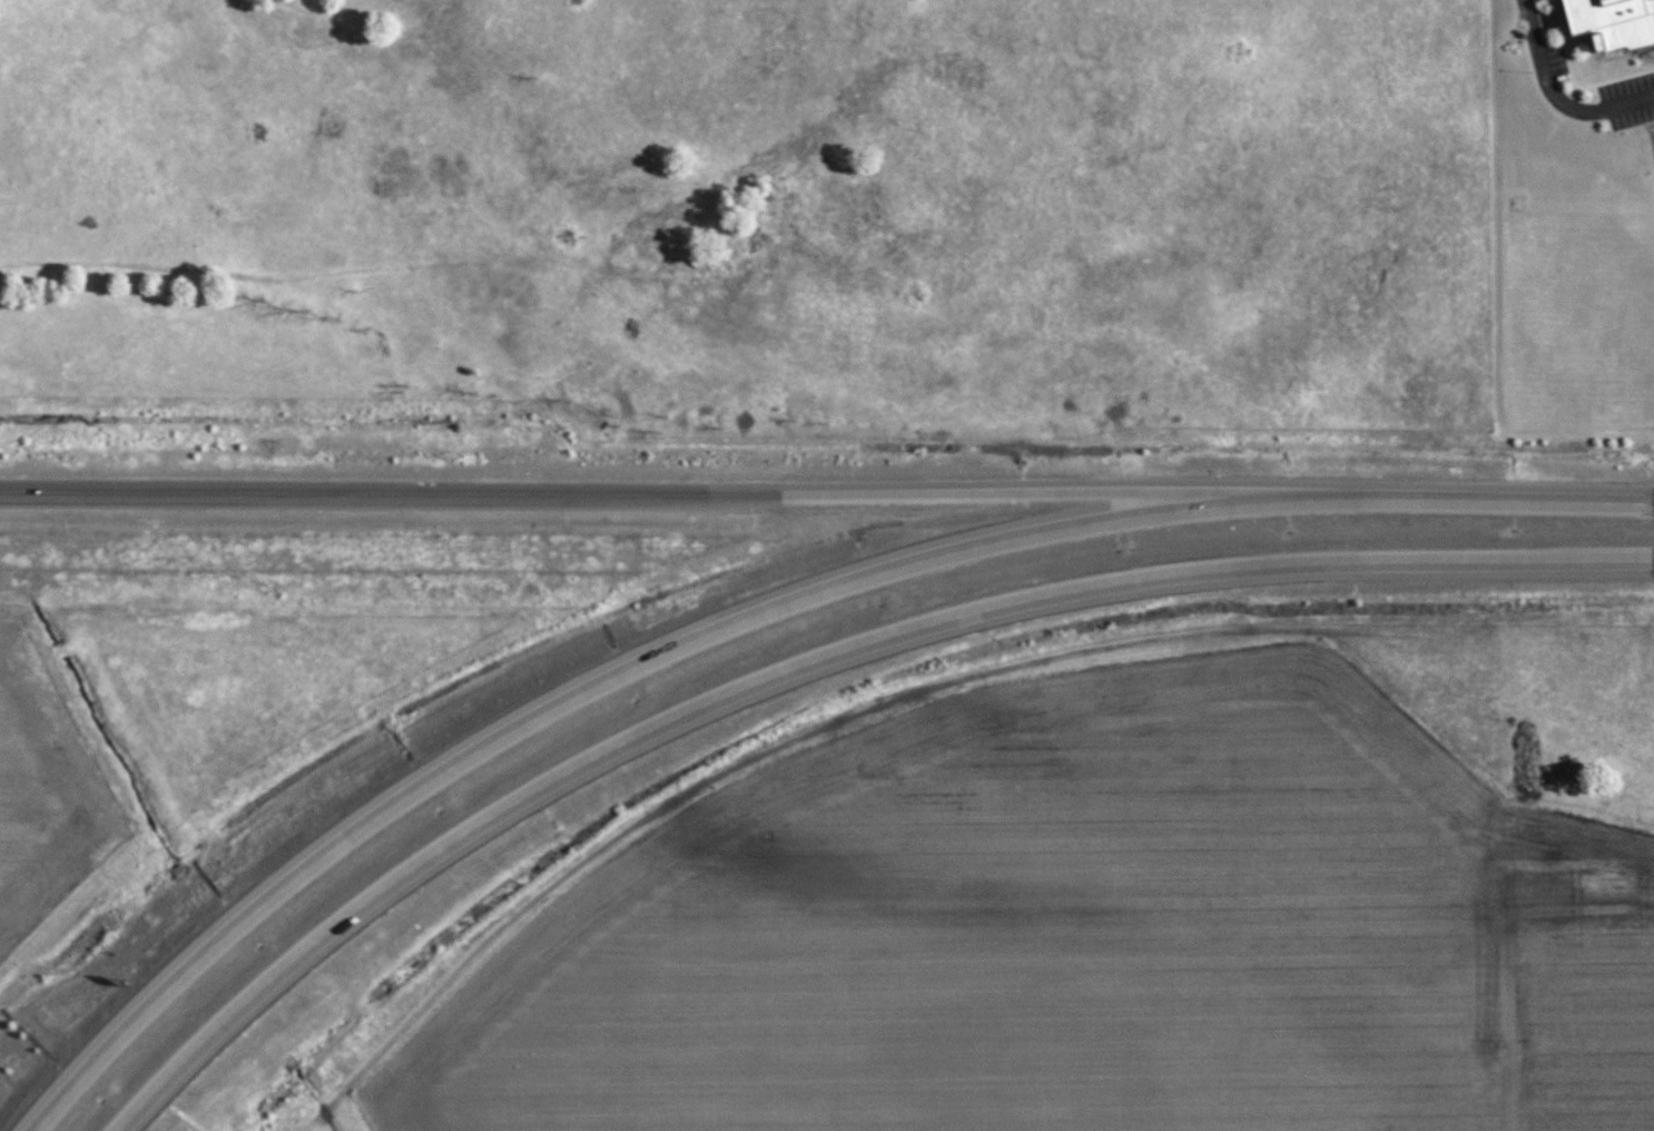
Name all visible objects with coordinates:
building: (1613, 22)
road: (1556, 98)
parking lot: (1628, 101)
road: (1036, 493)
road: (390, 496)
road: (1473, 499)
road: (1653, 499)
road: (1652, 561)
road: (830, 662)
road: (614, 687)

